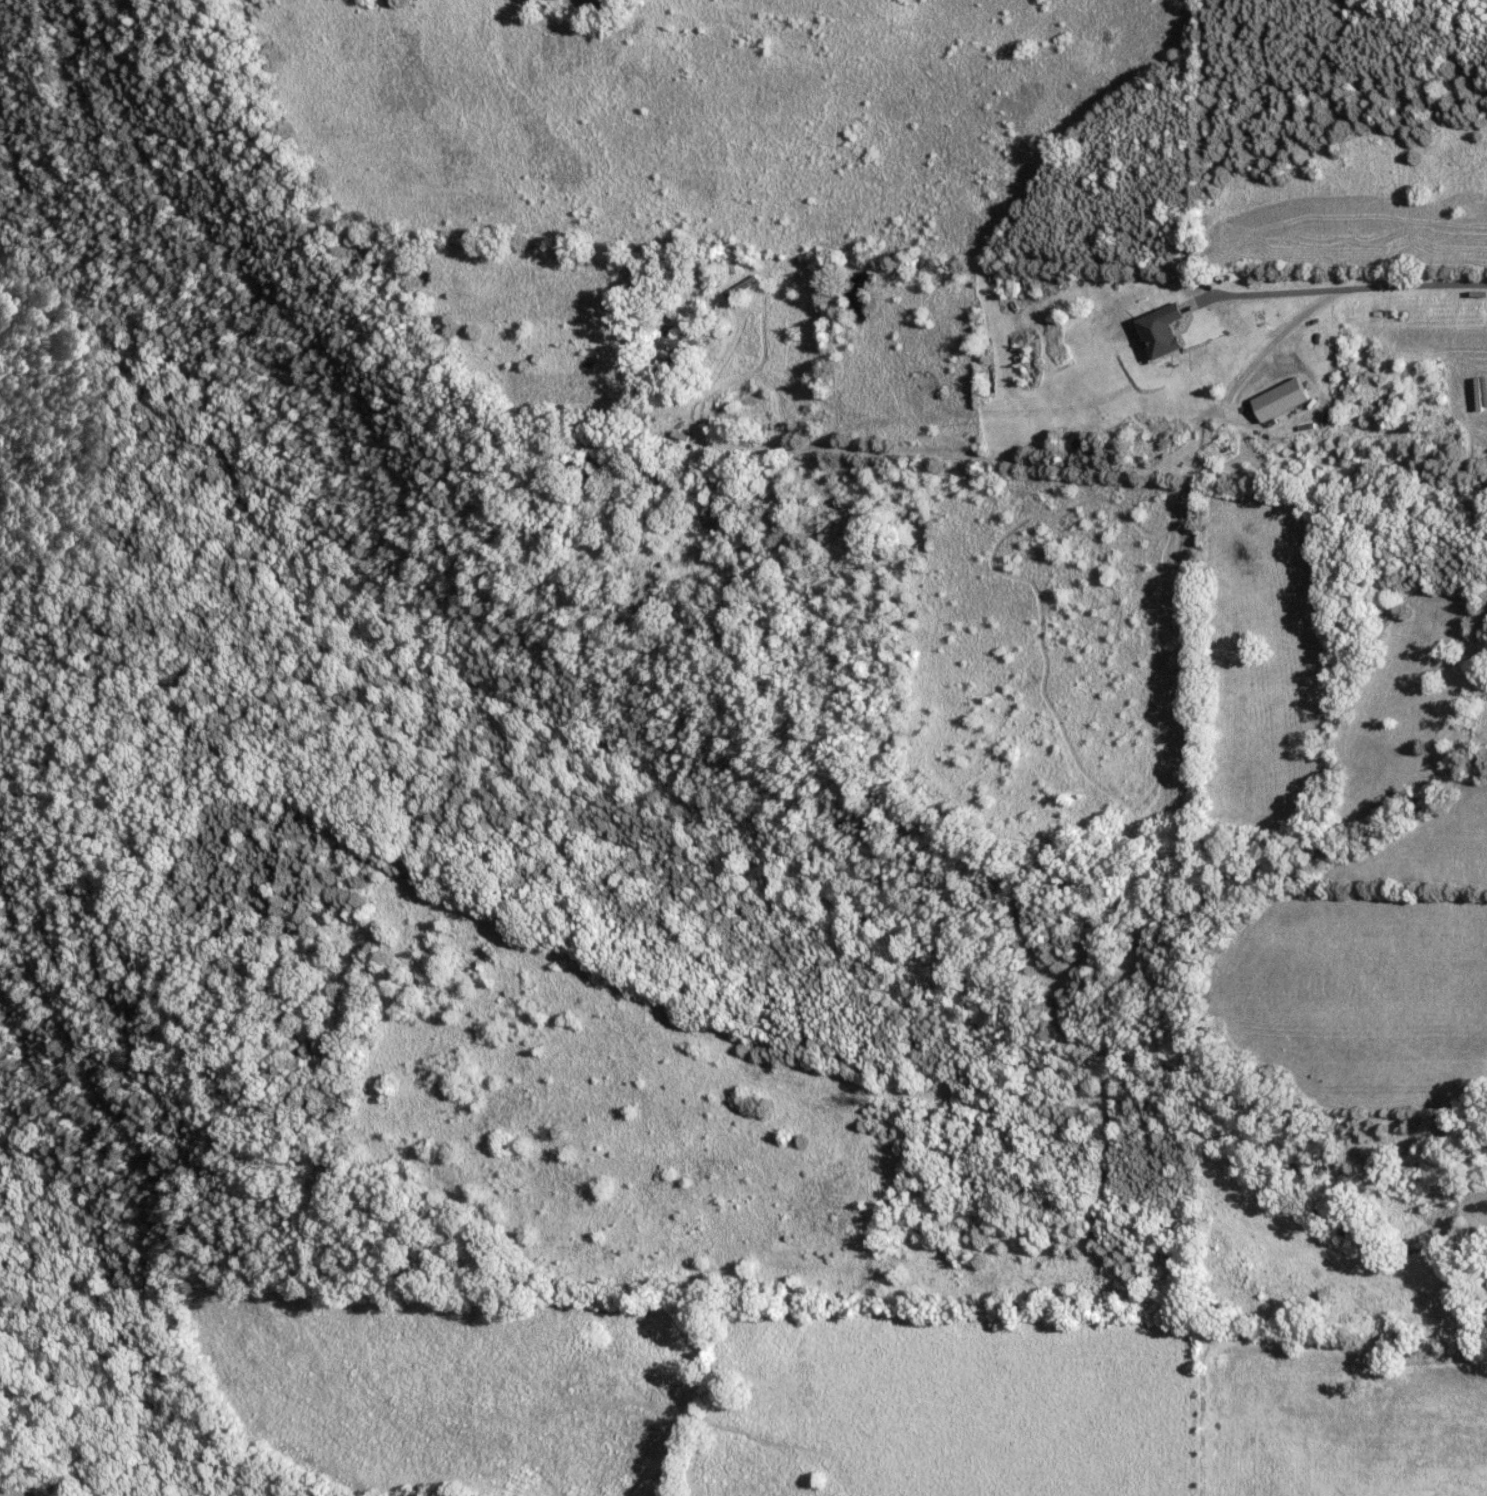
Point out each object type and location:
road: (1340, 289)
building: (1164, 331)
building: (1285, 398)

